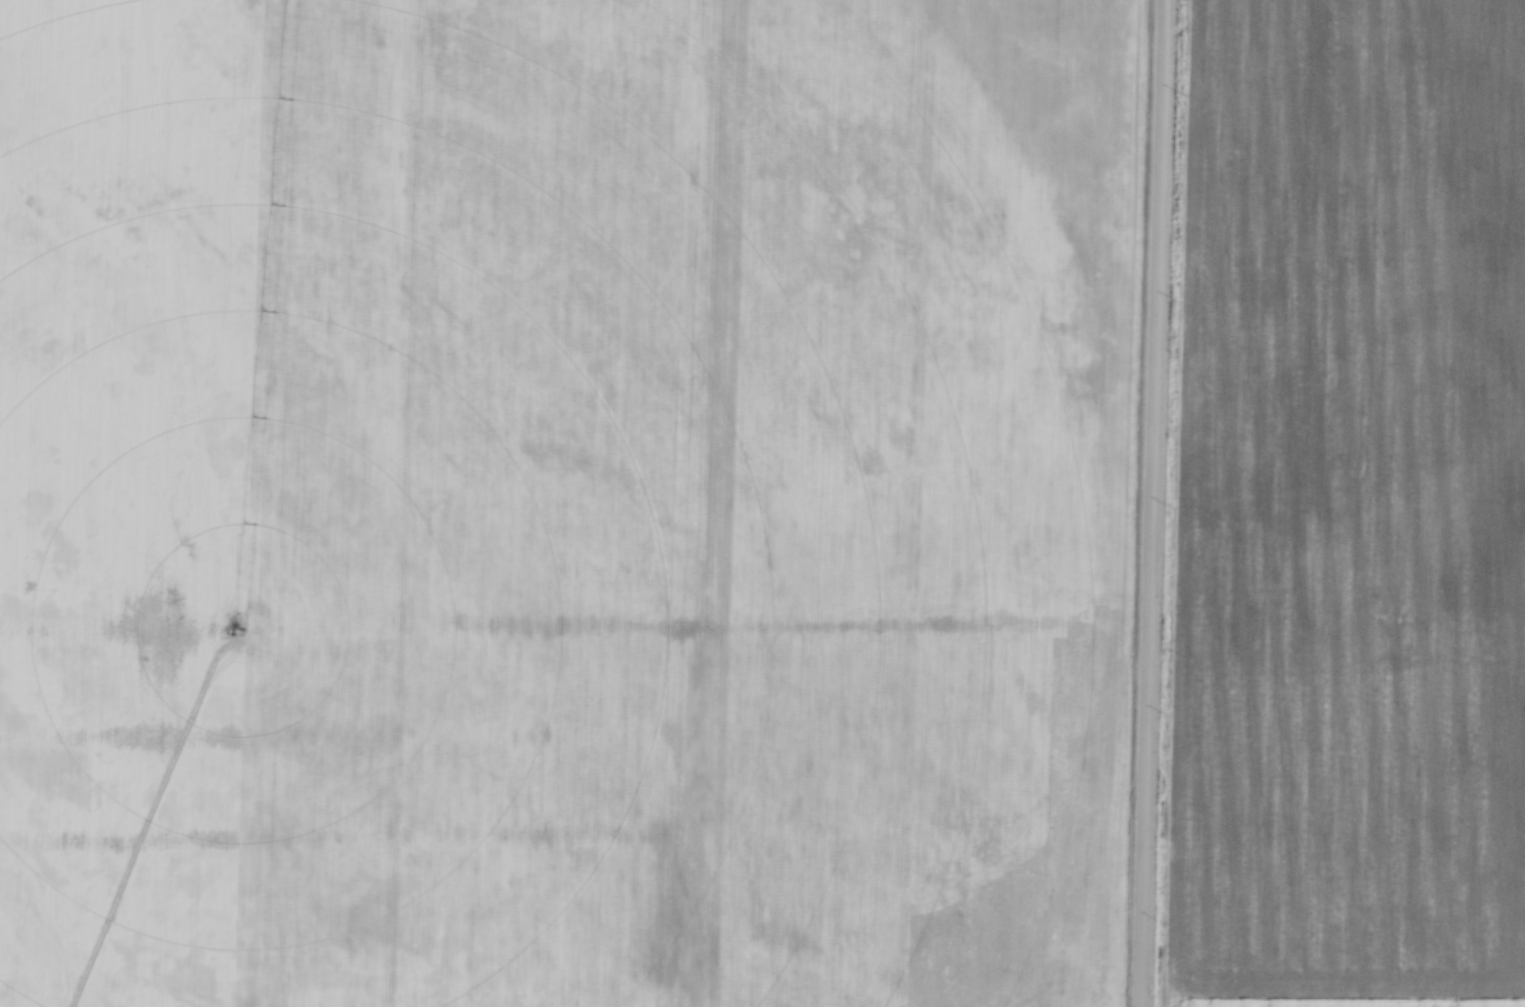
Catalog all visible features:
road: (1152, 503)

